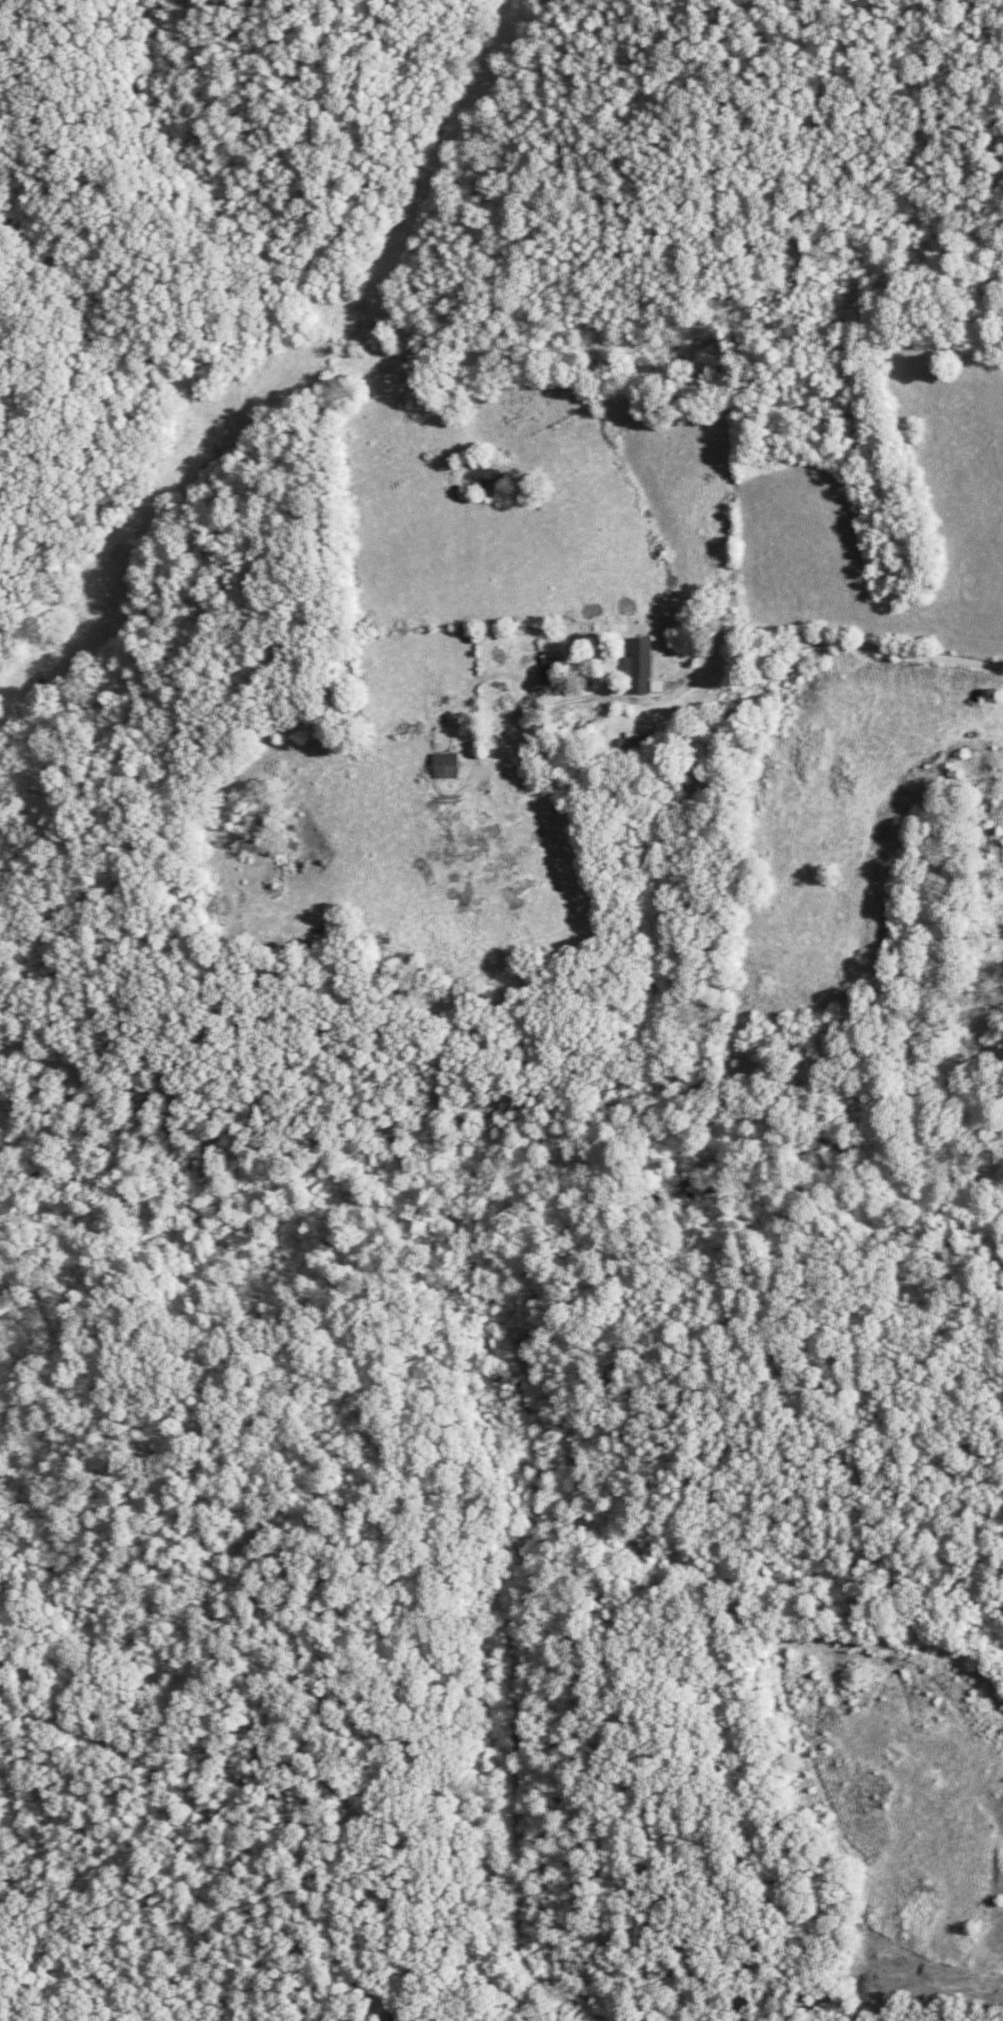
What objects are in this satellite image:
road: (803, 644)
building: (638, 666)
building: (548, 669)
building: (627, 742)
building: (444, 766)
road: (525, 1392)
road: (323, 1586)
road: (297, 1763)

